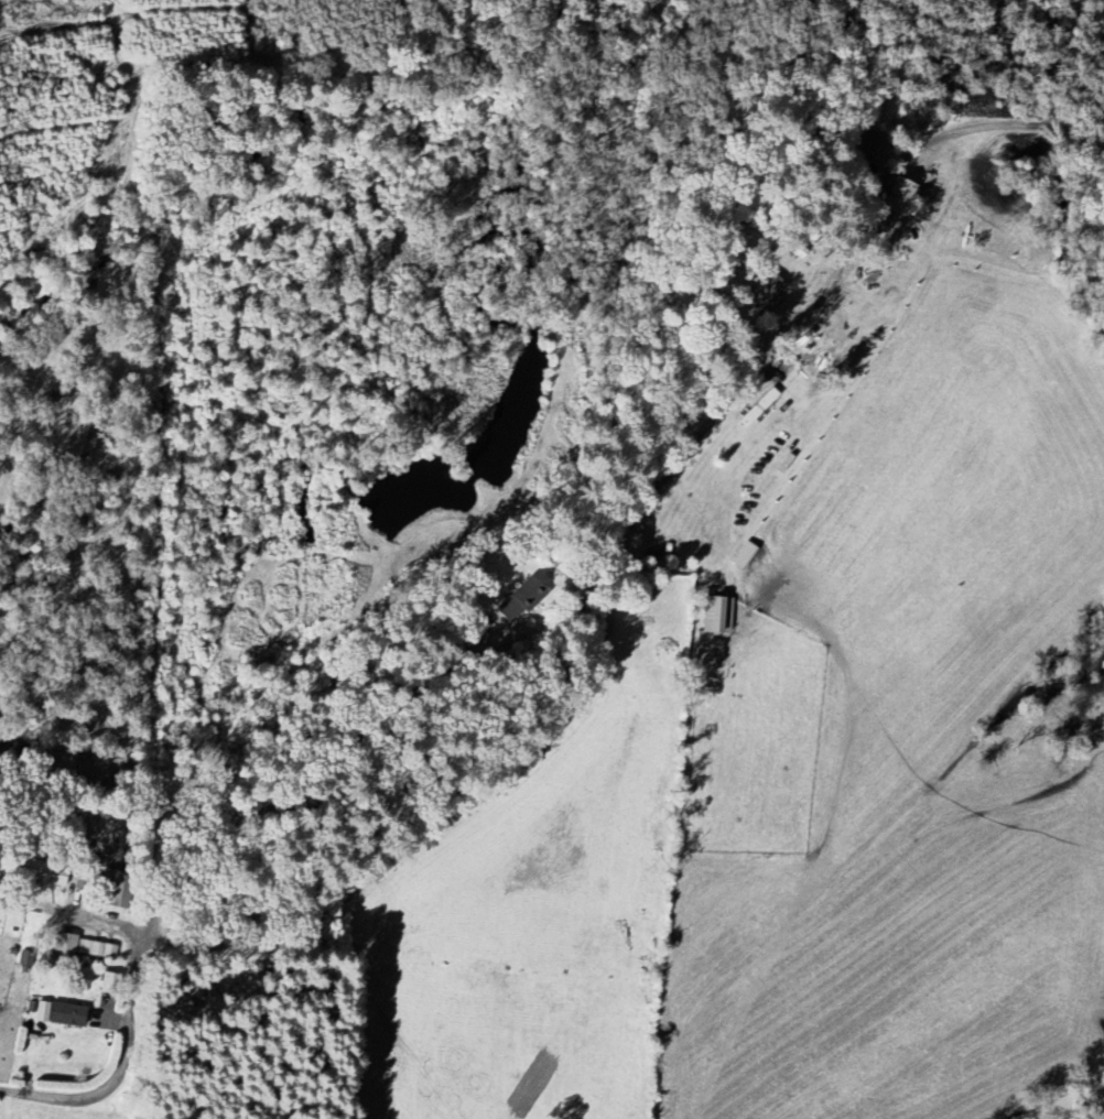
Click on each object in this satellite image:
building: (872, 149)
building: (896, 196)
building: (762, 293)
building: (743, 556)
building: (518, 600)
building: (719, 615)
road: (602, 653)
road: (310, 780)
building: (51, 874)
building: (112, 888)
building: (64, 943)
building: (96, 949)
road: (133, 1012)
building: (58, 1014)

